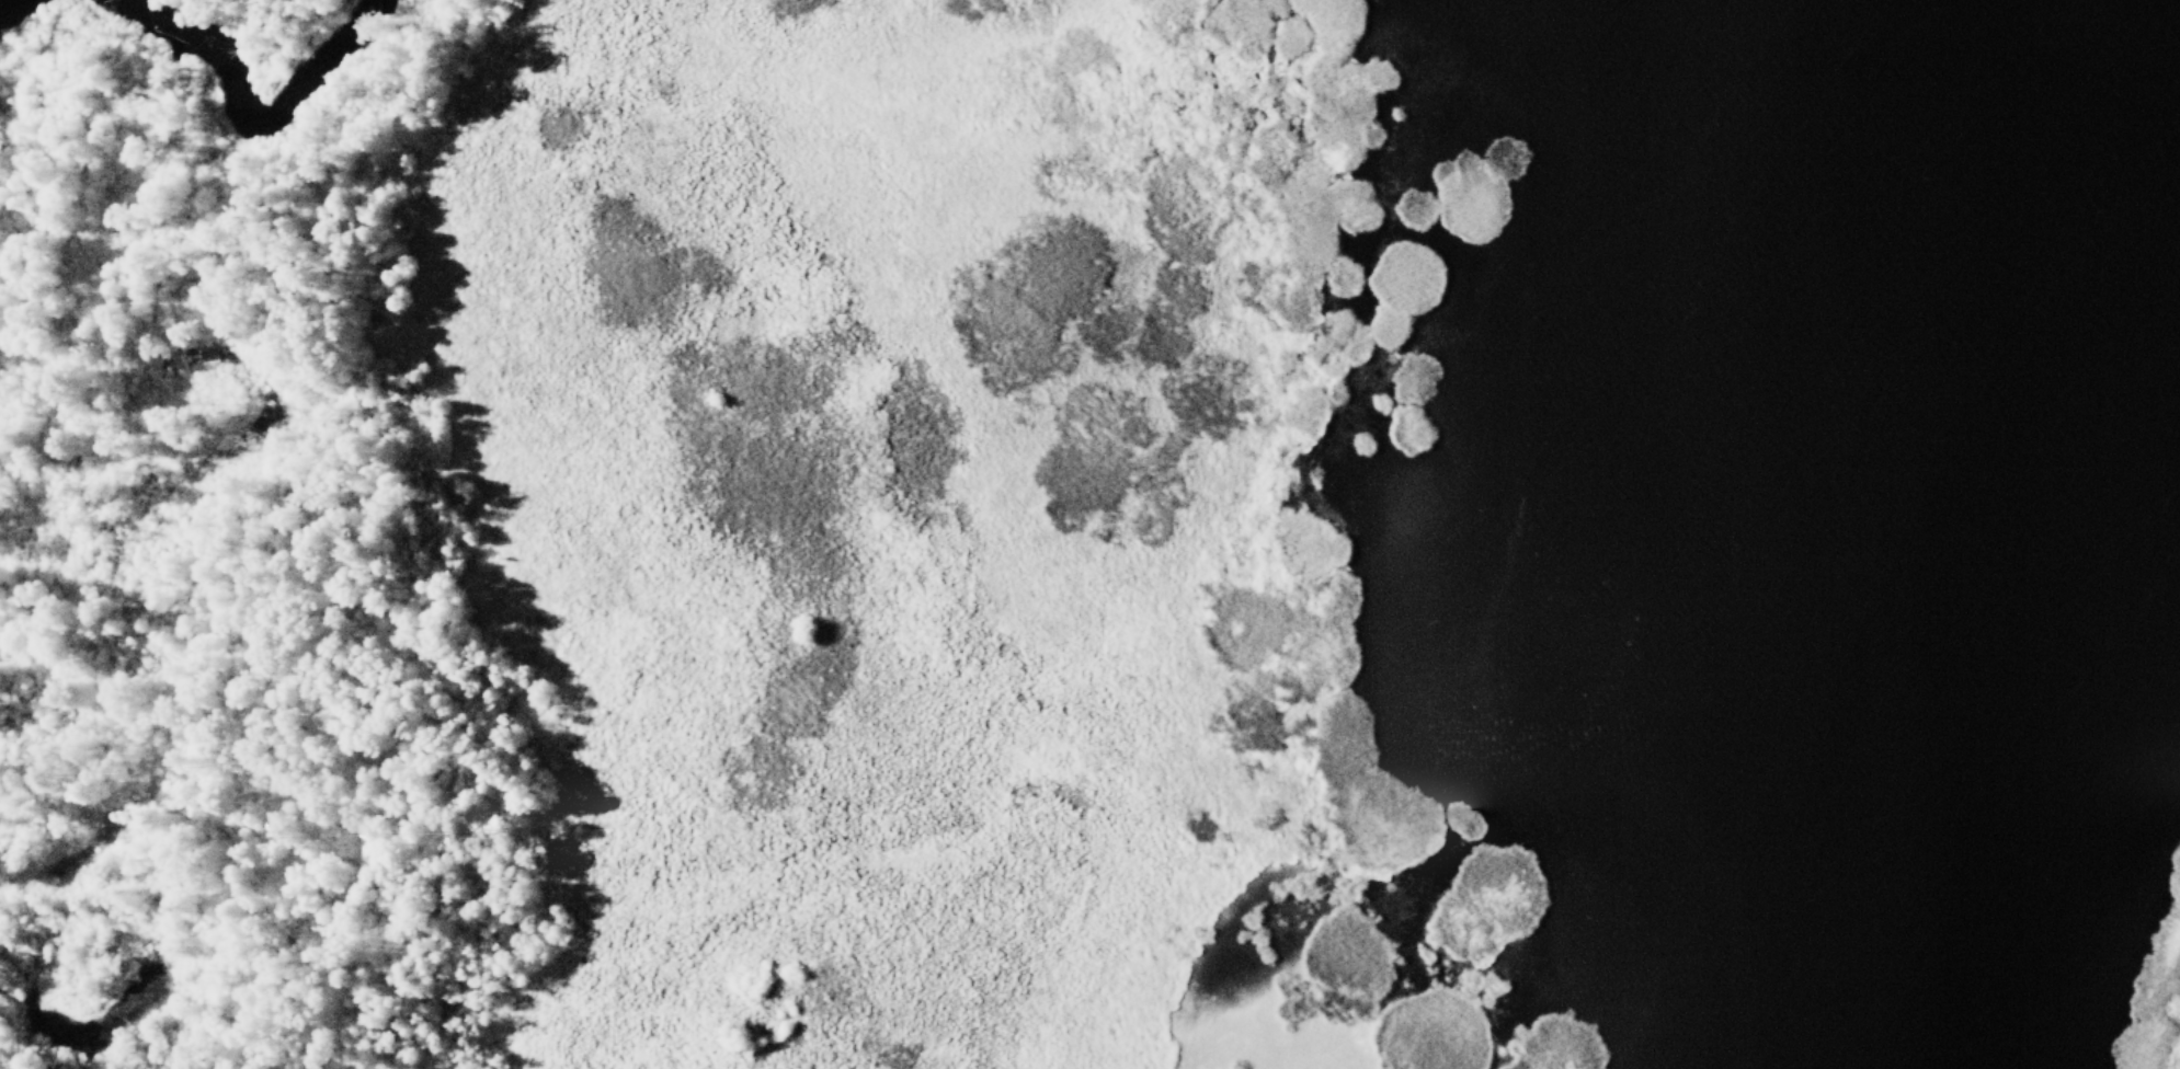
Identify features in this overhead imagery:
river: (1958, 545)

